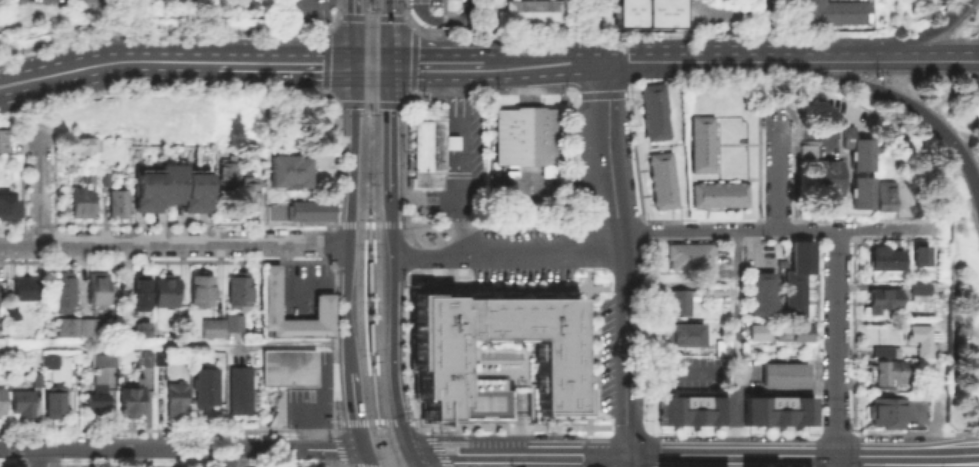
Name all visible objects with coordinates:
road: (590, 4)
building: (837, 12)
building: (533, 13)
building: (645, 13)
road: (406, 15)
park: (97, 16)
road: (371, 16)
road: (335, 17)
road: (161, 30)
road: (282, 31)
road: (354, 32)
road: (389, 32)
road: (885, 44)
road: (413, 60)
road: (326, 61)
road: (881, 61)
road: (974, 61)
road: (693, 62)
road: (105, 63)
road: (283, 63)
traffic signals: (354, 64)
road: (371, 64)
road: (543, 64)
traffic signals: (389, 65)
road: (439, 66)
road: (416, 89)
road: (601, 92)
road: (905, 99)
road: (368, 102)
building: (657, 113)
road: (389, 130)
building: (527, 139)
building: (5, 141)
road: (354, 143)
building: (704, 145)
building: (84, 146)
building: (854, 148)
building: (431, 149)
building: (806, 149)
building: (253, 153)
road: (463, 162)
building: (74, 167)
road: (777, 169)
building: (288, 170)
building: (230, 171)
building: (826, 177)
building: (90, 179)
building: (107, 180)
building: (664, 181)
building: (170, 188)
road: (40, 191)
building: (858, 191)
building: (252, 194)
building: (720, 195)
building: (884, 197)
building: (83, 203)
building: (120, 203)
building: (9, 206)
road: (390, 209)
building: (300, 210)
road: (699, 218)
road: (256, 222)
road: (369, 222)
road: (663, 230)
railway: (361, 234)
railway: (376, 235)
railway: (366, 238)
road: (174, 245)
building: (687, 253)
building: (919, 254)
building: (881, 255)
road: (409, 258)
road: (626, 263)
building: (796, 277)
road: (407, 280)
road: (737, 284)
building: (712, 287)
building: (918, 288)
building: (27, 289)
building: (100, 289)
building: (143, 291)
building: (203, 291)
building: (240, 291)
building: (757, 291)
building: (167, 292)
building: (66, 294)
road: (347, 296)
building: (879, 297)
building: (678, 298)
building: (721, 306)
building: (325, 308)
building: (13, 314)
building: (27, 314)
road: (370, 321)
building: (235, 323)
building: (84, 328)
building: (141, 328)
building: (789, 328)
building: (214, 329)
building: (756, 329)
building: (681, 331)
building: (918, 335)
road: (394, 336)
road: (406, 342)
road: (174, 343)
building: (720, 345)
road: (336, 347)
road: (835, 347)
road: (937, 347)
building: (883, 348)
road: (587, 351)
building: (490, 355)
building: (162, 359)
building: (49, 360)
building: (148, 360)
building: (289, 368)
building: (883, 369)
road: (671, 370)
railway: (376, 372)
building: (781, 372)
building: (39, 381)
building: (101, 385)
building: (208, 387)
building: (242, 391)
building: (178, 400)
building: (3, 402)
building: (57, 402)
building: (133, 402)
park: (484, 402)
building: (24, 403)
road: (814, 408)
building: (882, 408)
road: (355, 409)
building: (692, 409)
building: (777, 409)
road: (736, 411)
road: (375, 421)
road: (631, 426)
road: (895, 431)
road: (950, 432)
road: (971, 432)
road: (436, 446)
road: (180, 447)
traffic signals: (362, 448)
road: (813, 448)
road: (385, 449)
traffic signals: (410, 449)
road: (853, 449)
road: (588, 451)
road: (517, 452)
road: (970, 452)
road: (794, 453)
road: (38, 457)
road: (228, 457)
road: (343, 457)
road: (364, 457)
road: (414, 458)
road: (555, 459)
road: (9, 464)
road: (130, 465)
road: (294, 465)
road: (539, 466)

